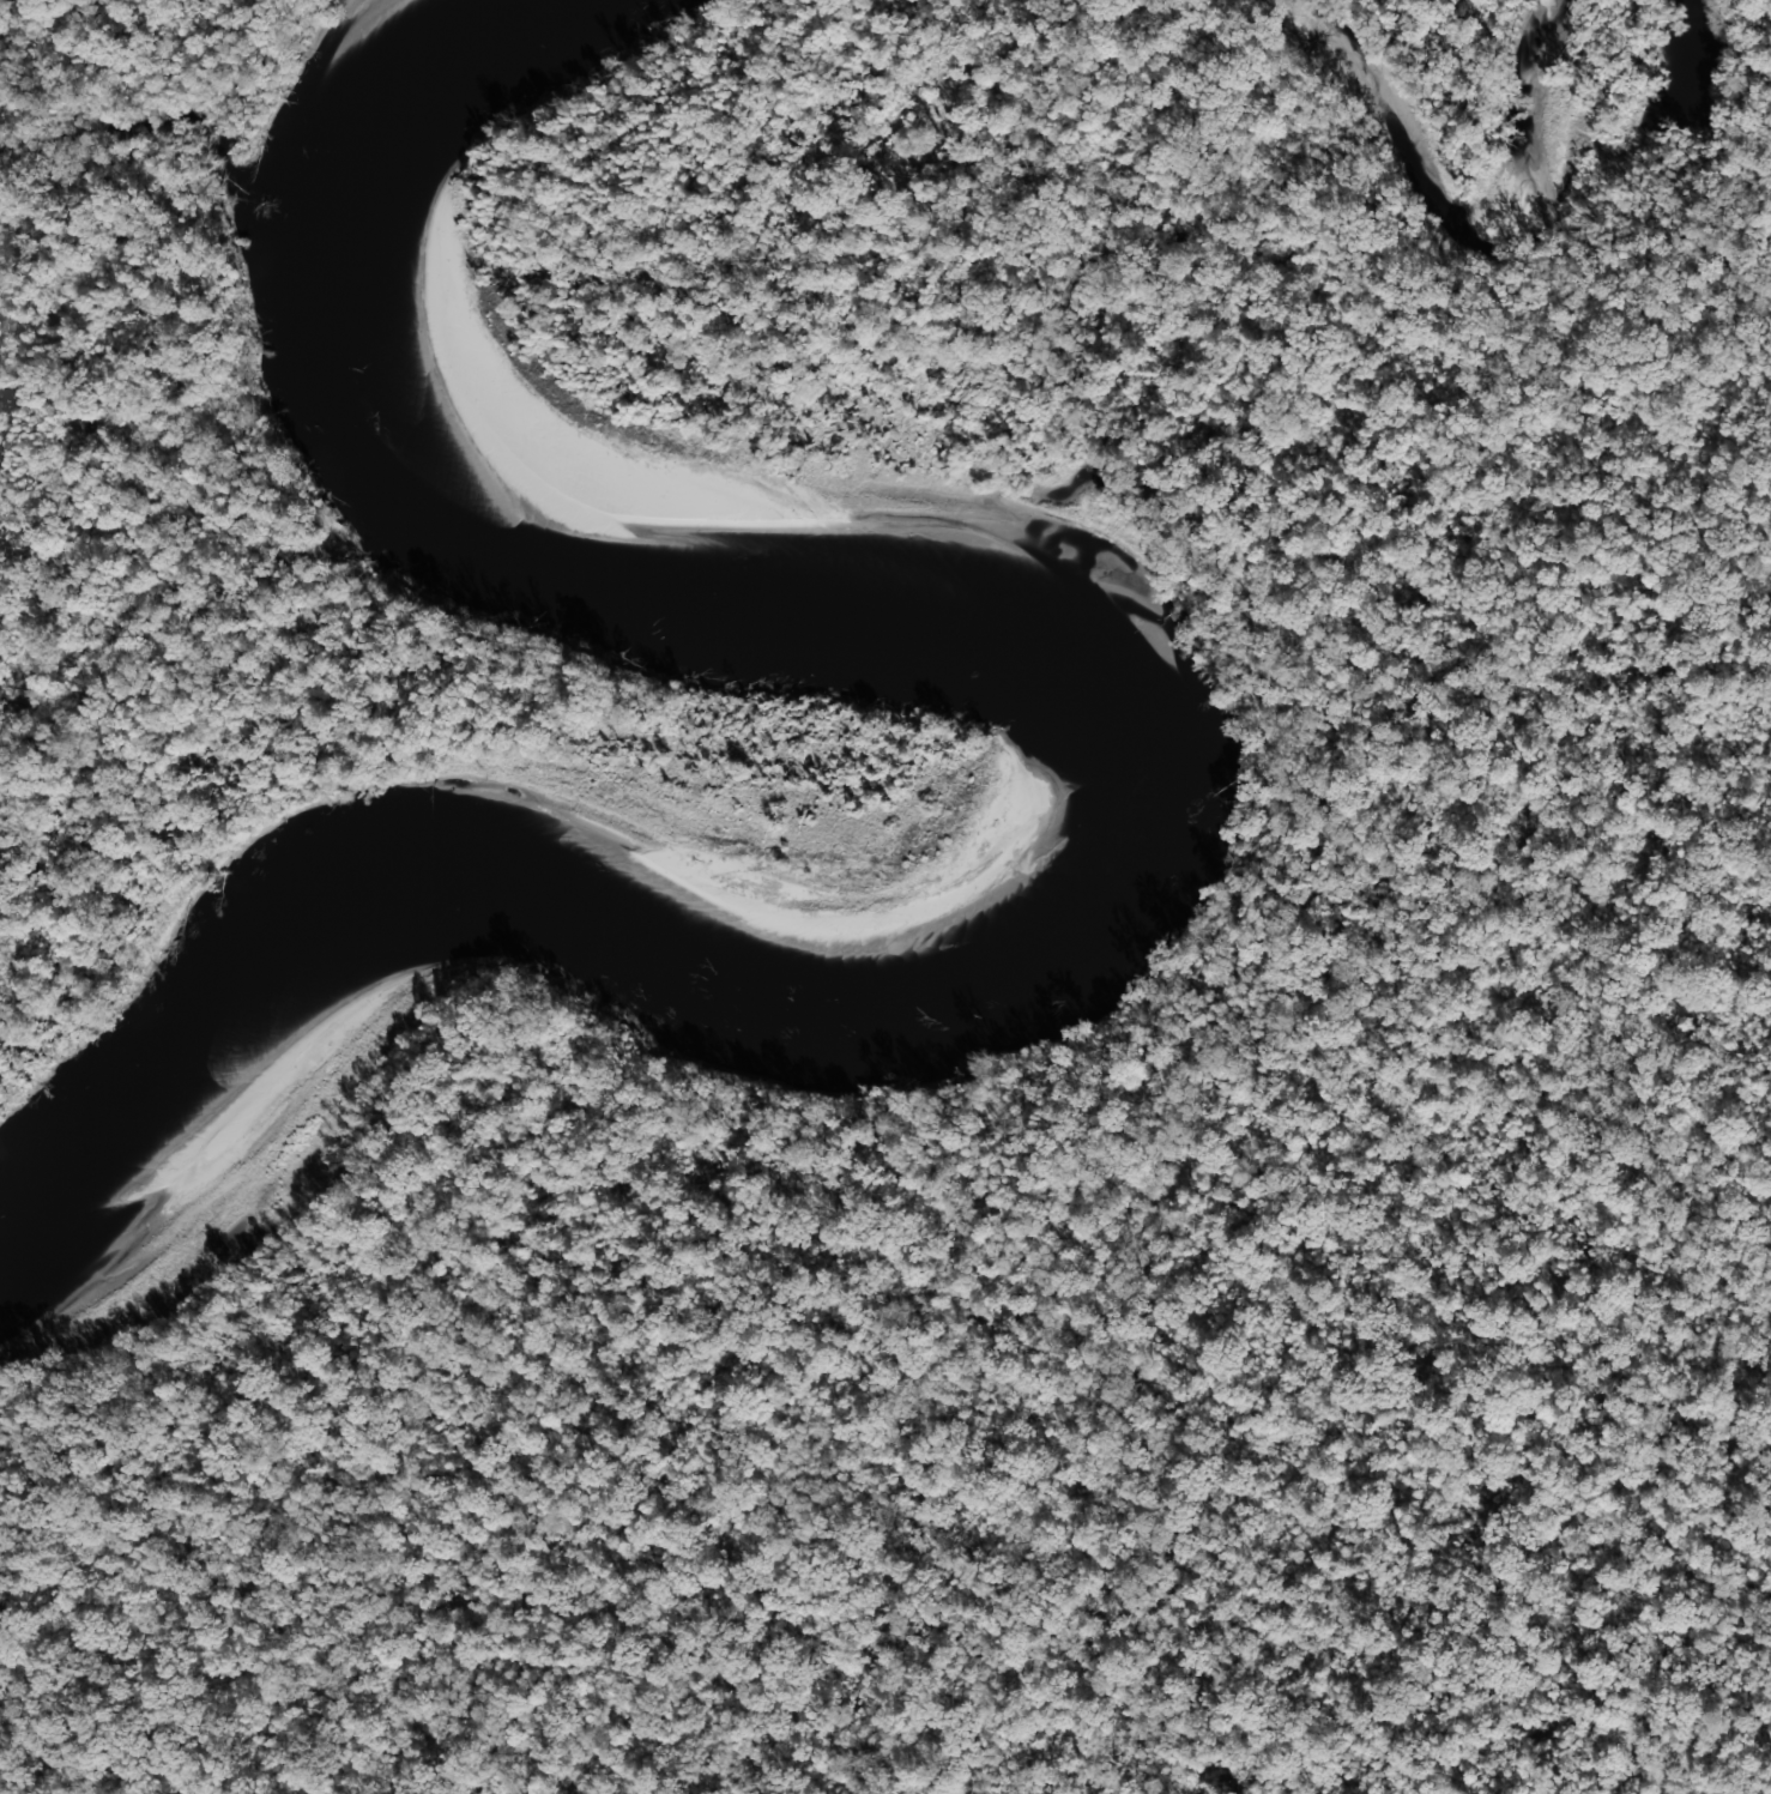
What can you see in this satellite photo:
road: (1759, 116)
river: (1149, 772)
road: (1419, 1019)

